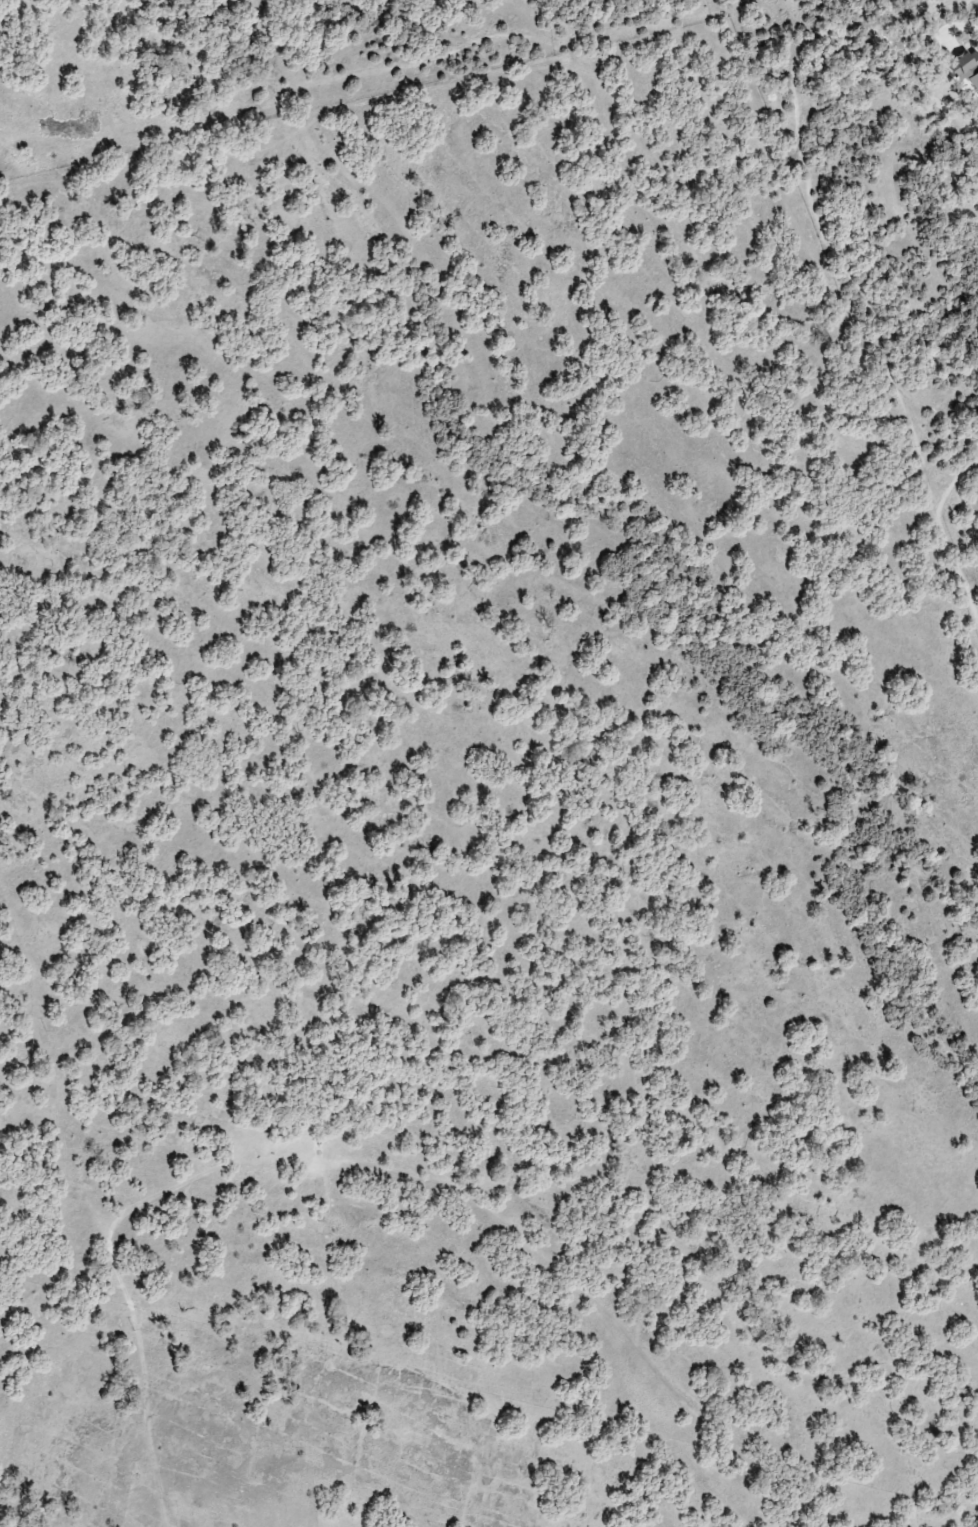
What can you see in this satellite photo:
road: (952, 28)
building: (966, 68)

